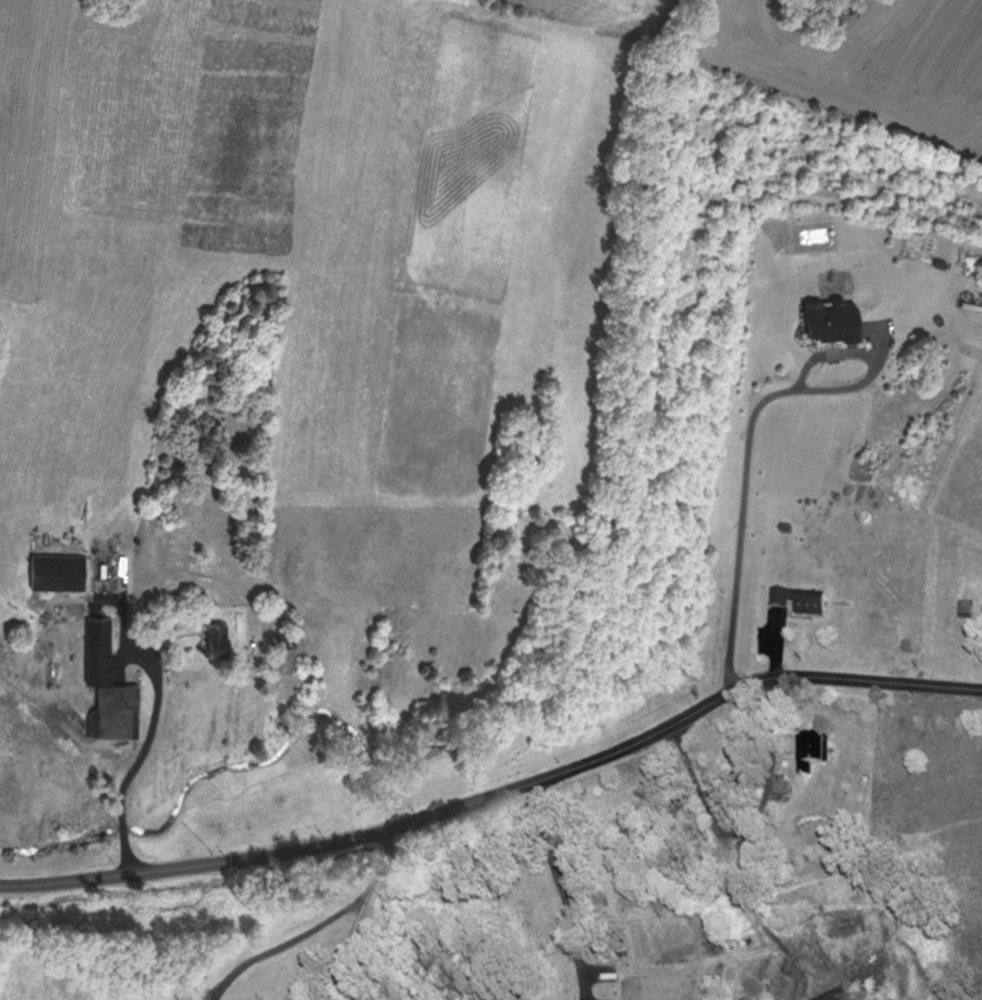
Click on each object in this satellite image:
building: (823, 318)
road: (829, 355)
road: (747, 460)
building: (50, 571)
building: (794, 602)
building: (206, 635)
building: (101, 684)
road: (142, 751)
building: (804, 752)
building: (776, 786)
road: (498, 794)
building: (745, 849)
road: (562, 889)
road: (361, 912)
building: (842, 926)
road: (290, 944)
building: (830, 996)

